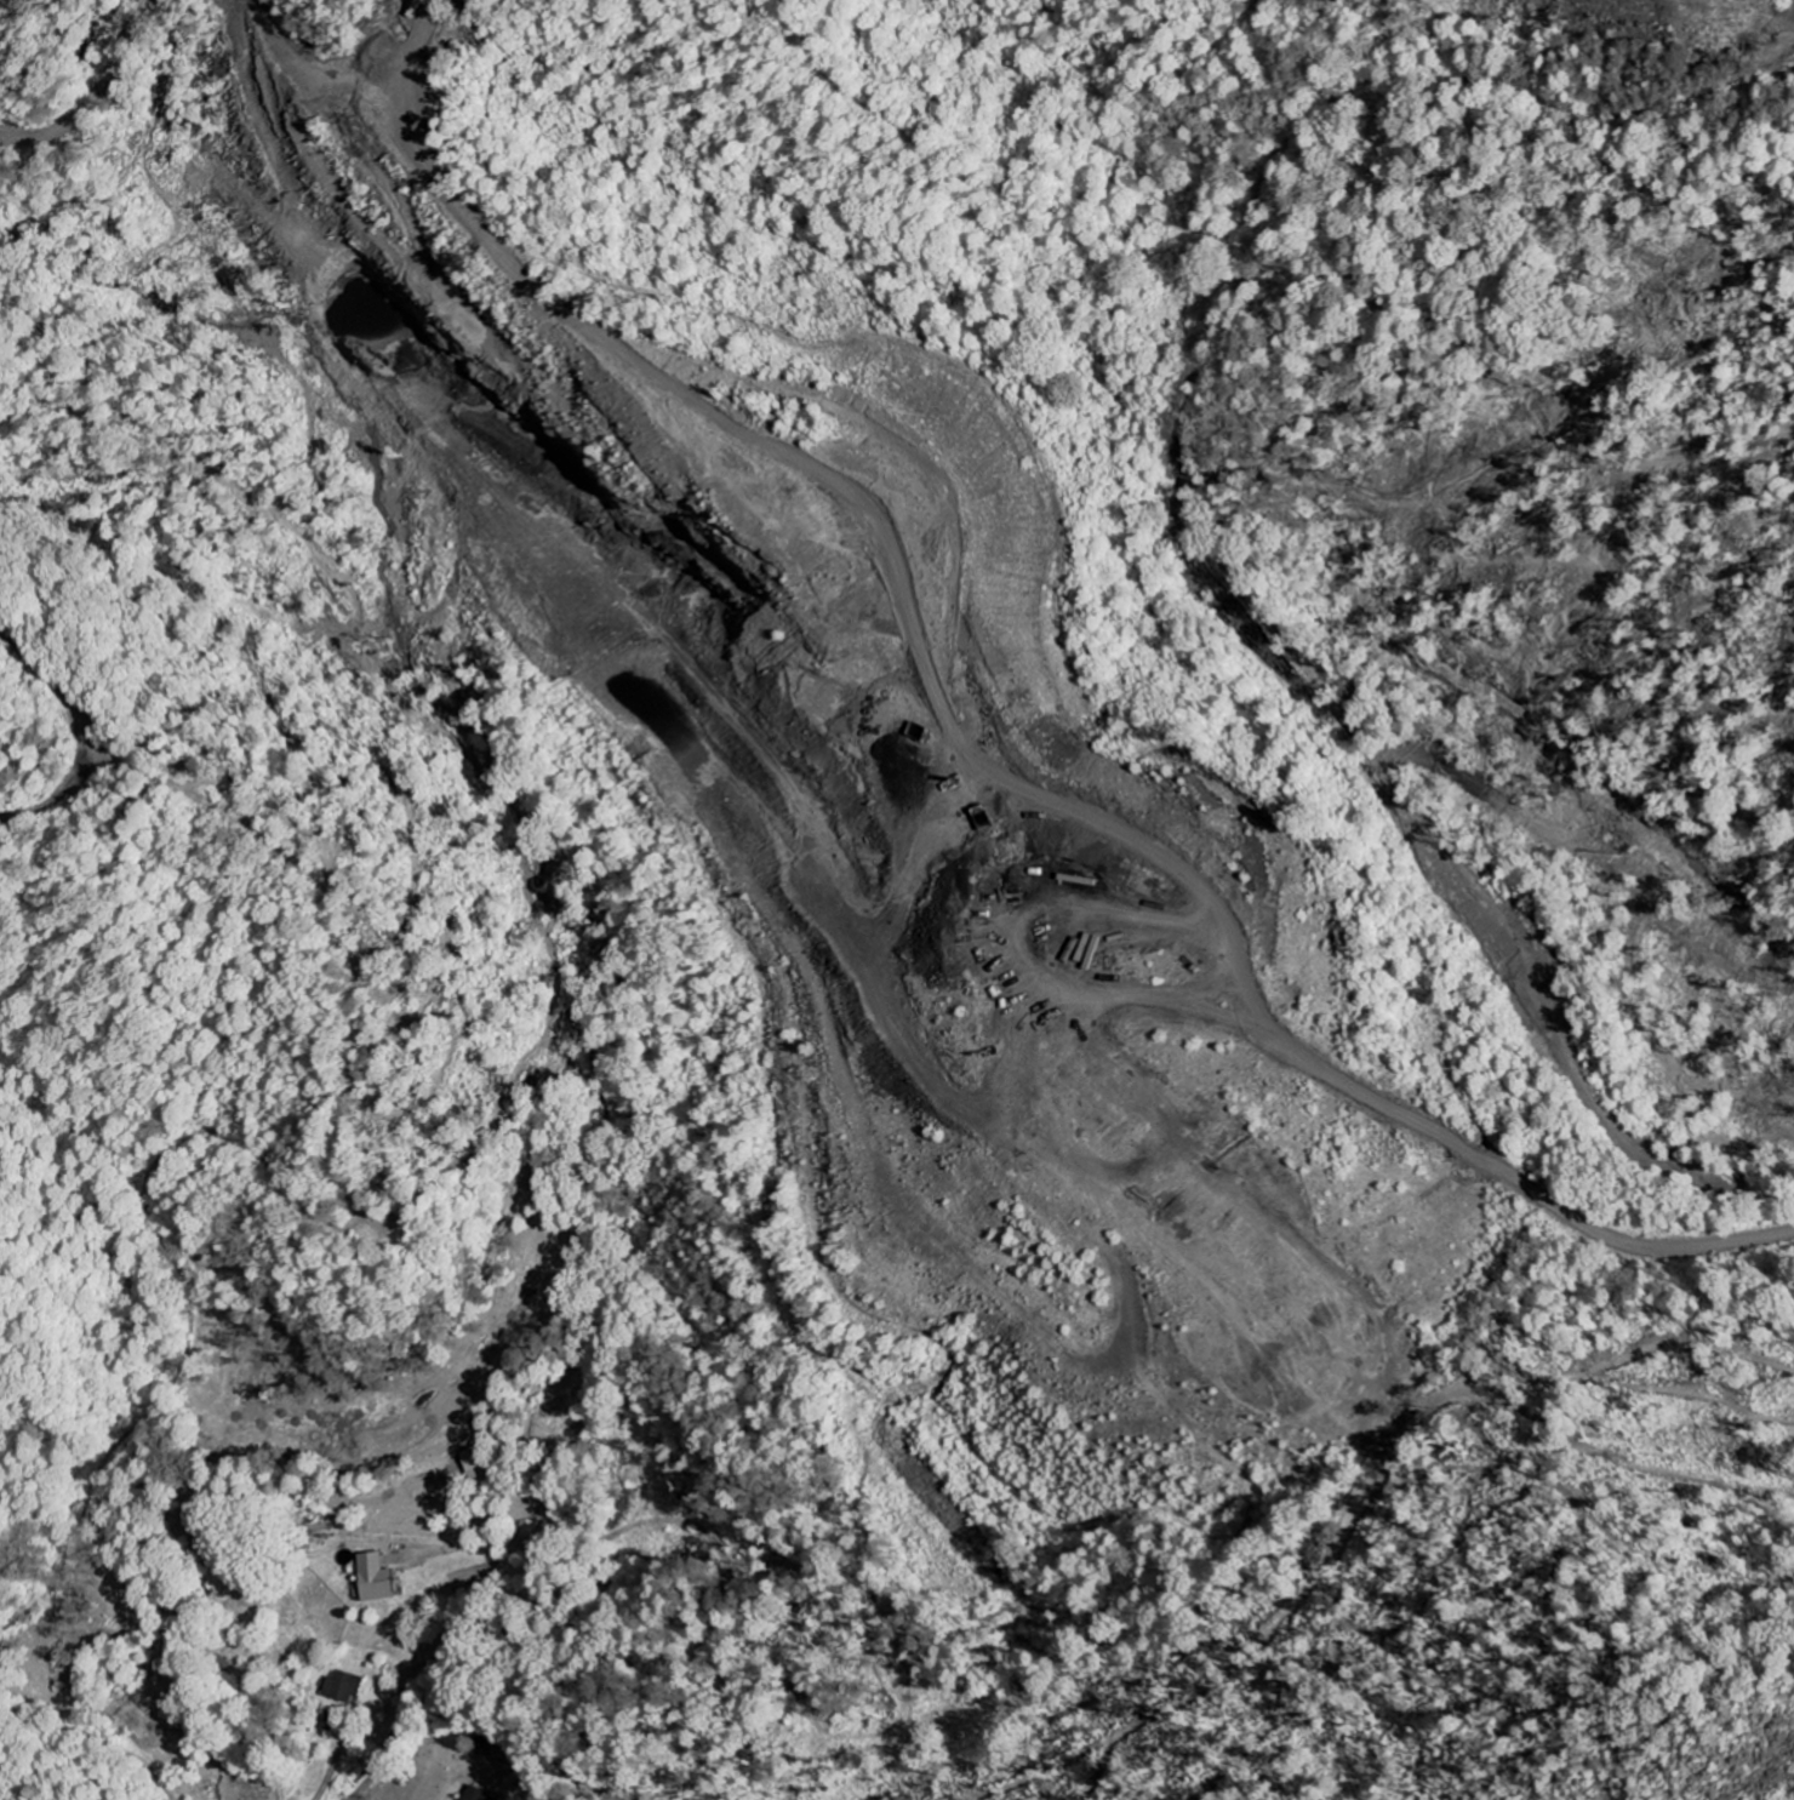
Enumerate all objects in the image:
road: (1282, 702)
building: (481, 1462)
building: (379, 1578)
building: (348, 1686)
road: (390, 1750)
building: (479, 1794)

